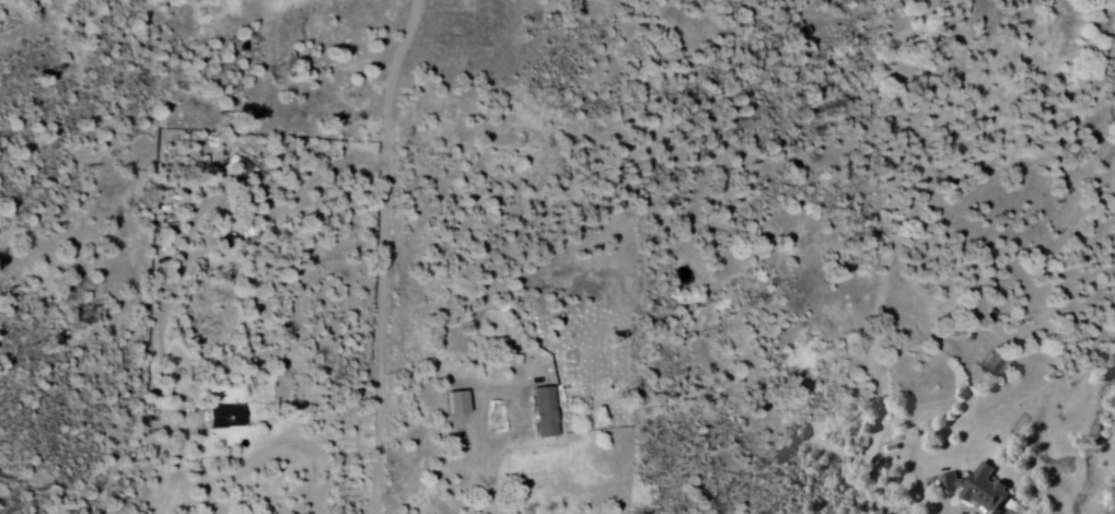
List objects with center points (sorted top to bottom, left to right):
road: (379, 254)
building: (985, 366)
road: (496, 389)
building: (451, 402)
building: (538, 412)
building: (220, 417)
road: (931, 432)
road: (173, 468)
building: (972, 488)
road: (487, 493)

